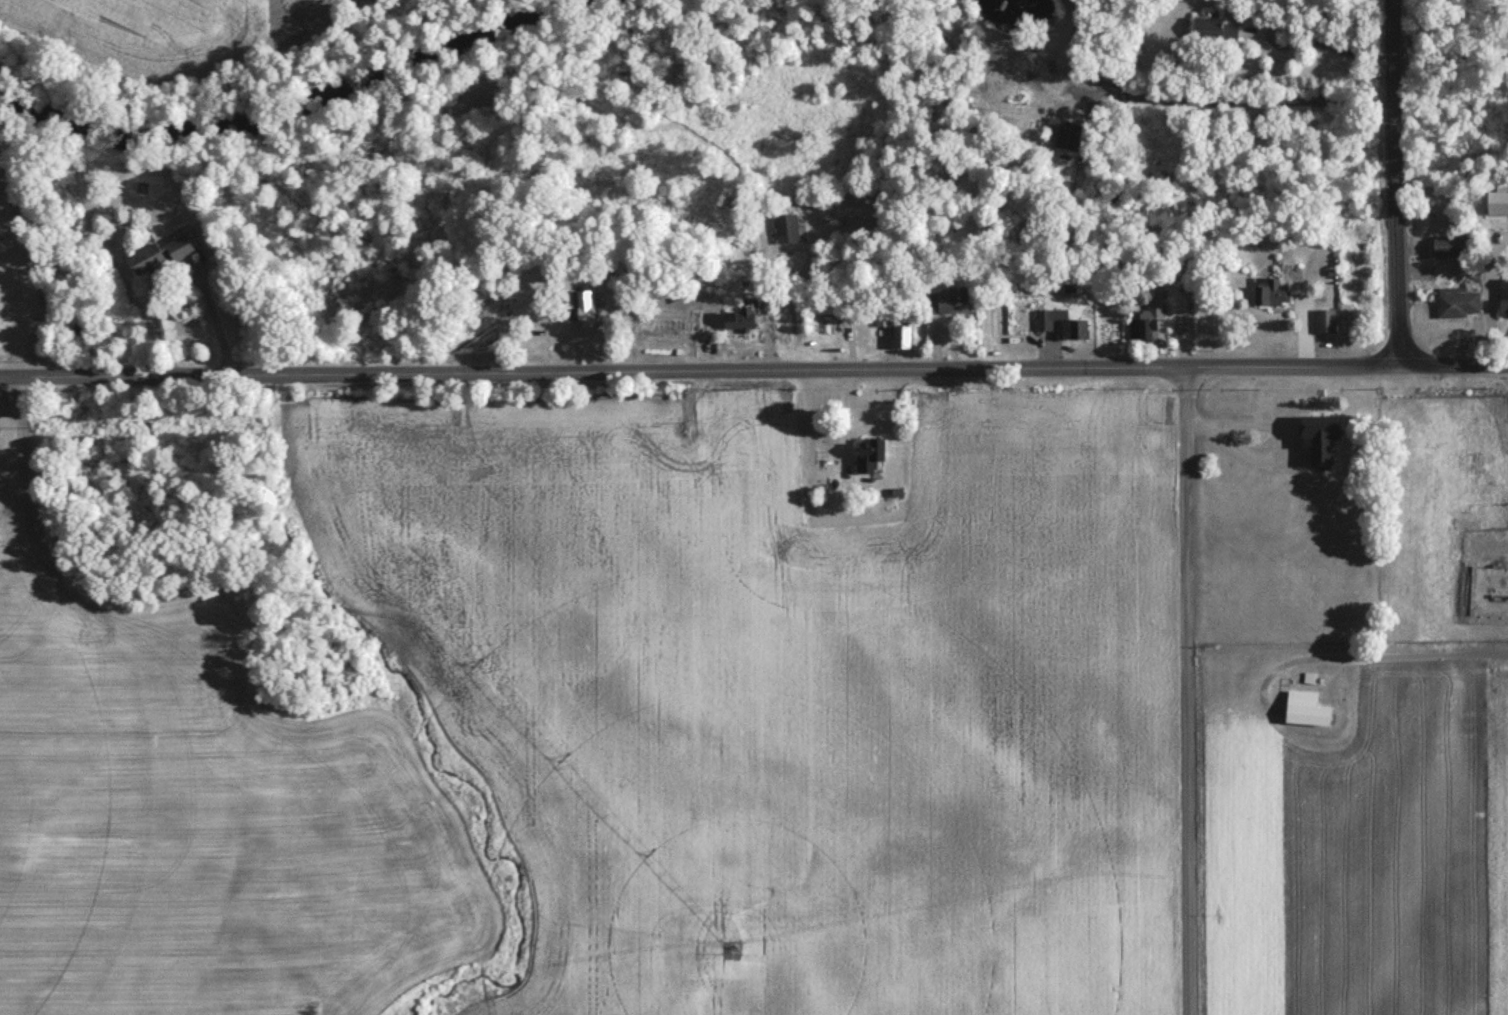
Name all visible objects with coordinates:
building: (1213, 29)
road: (1338, 59)
river: (301, 83)
road: (1240, 97)
building: (1060, 135)
road: (1397, 183)
building: (1497, 201)
building: (785, 230)
building: (1449, 250)
building: (153, 256)
building: (604, 275)
building: (1276, 287)
road: (1488, 299)
building: (1503, 299)
building: (945, 303)
building: (1457, 305)
building: (579, 308)
building: (1151, 316)
road: (211, 317)
building: (744, 318)
building: (880, 320)
building: (1323, 323)
building: (1059, 325)
building: (899, 338)
road: (754, 371)
building: (1316, 441)
building: (868, 456)
road: (1395, 657)
road: (1185, 690)
building: (1303, 709)

